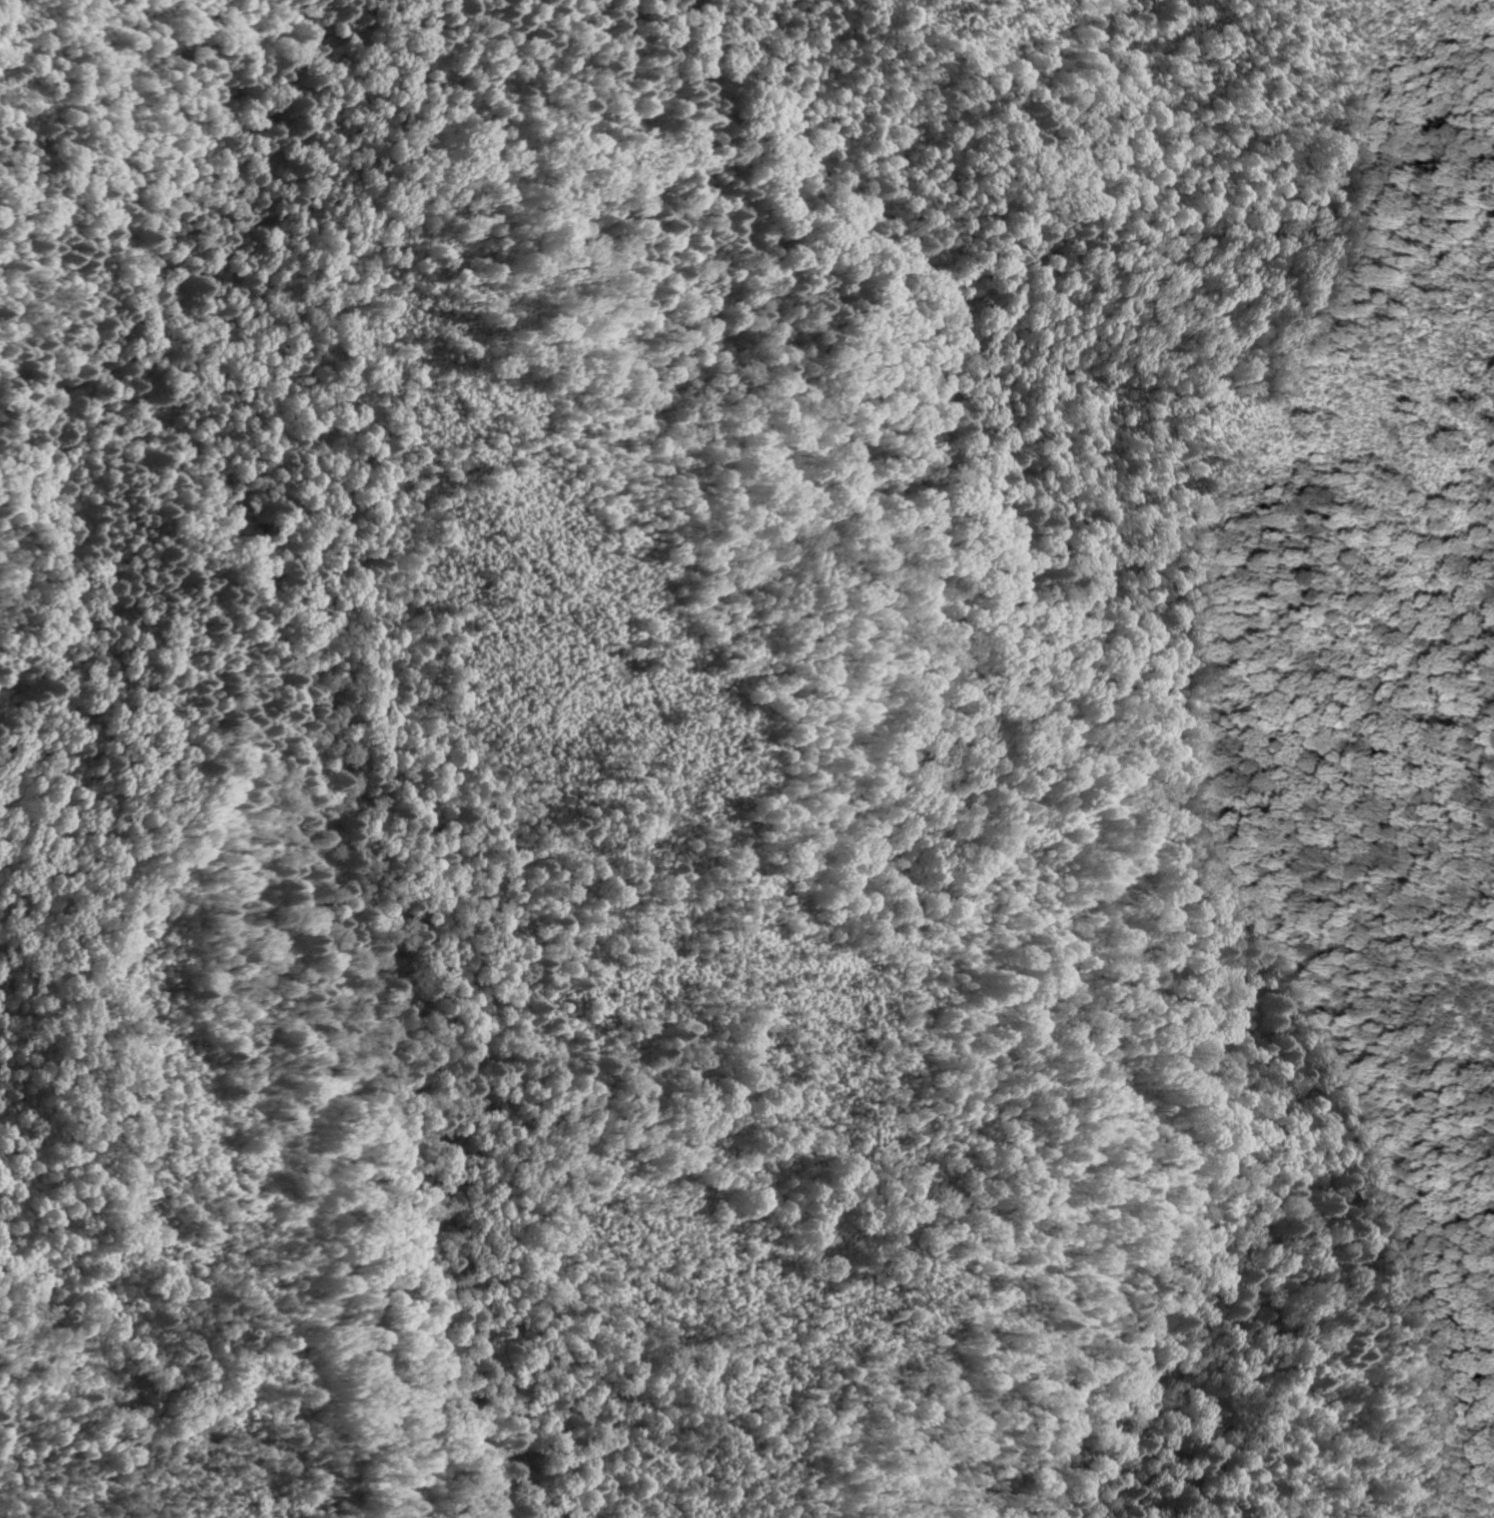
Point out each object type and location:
road: (757, 1238)

